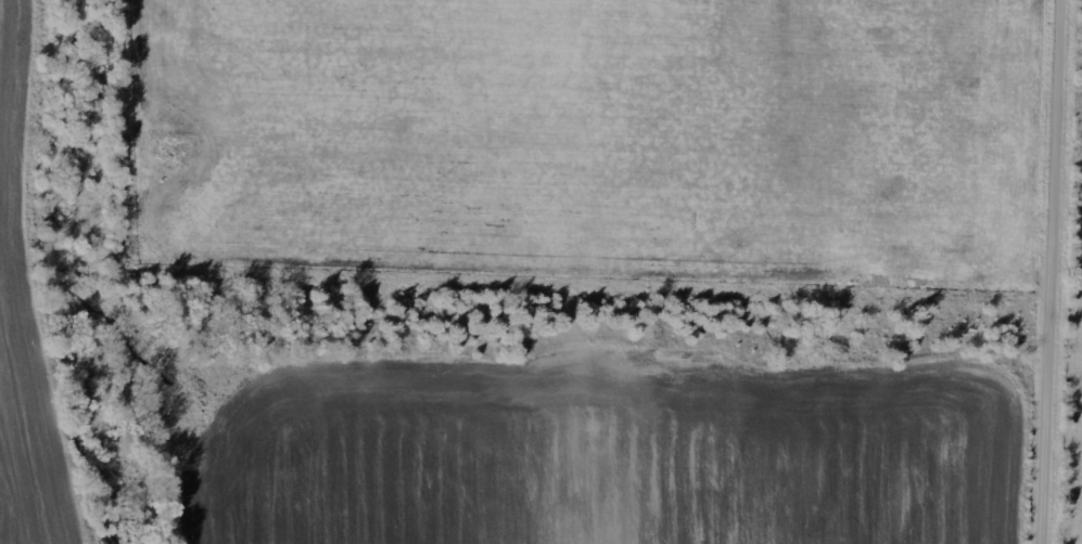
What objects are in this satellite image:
road: (1065, 272)

